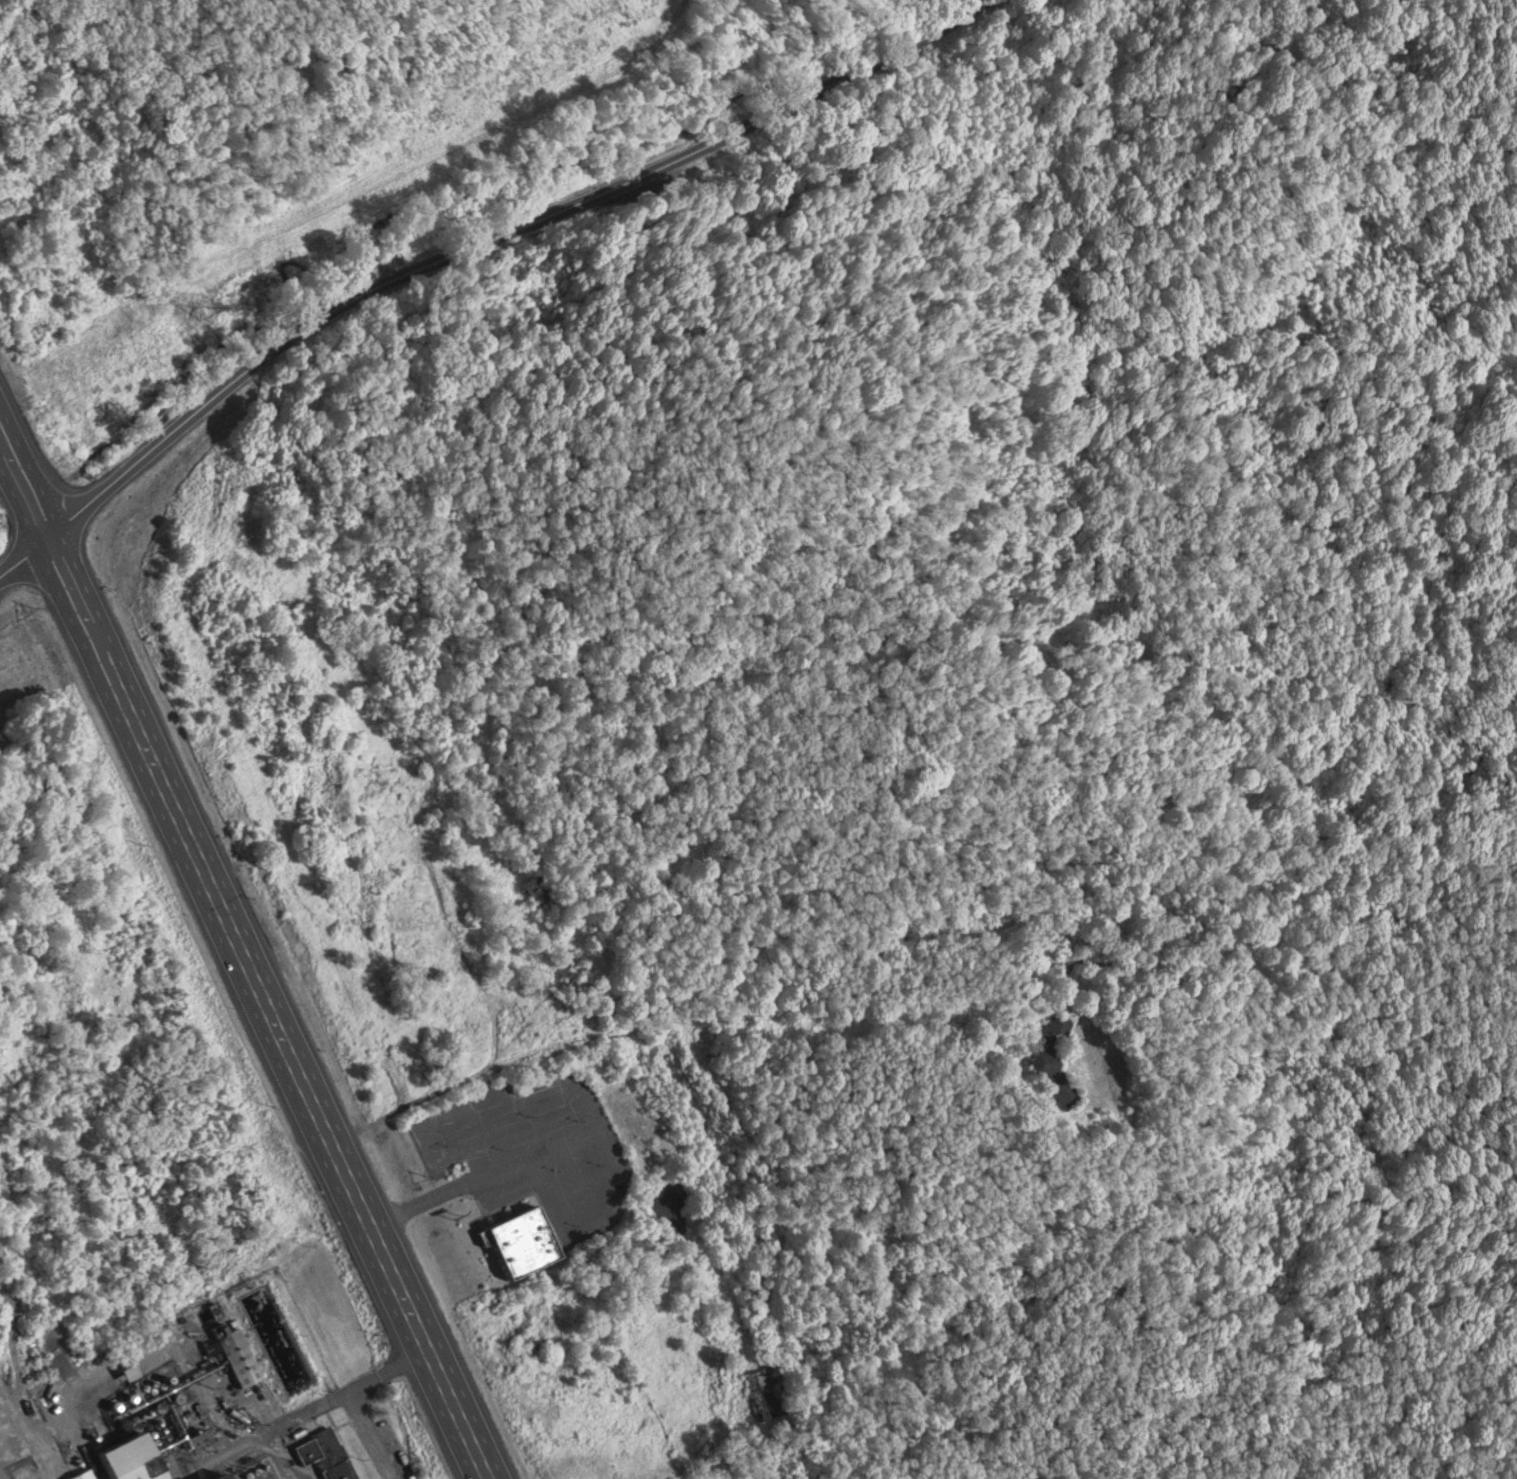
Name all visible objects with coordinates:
road: (493, 239)
road: (17, 554)
road: (238, 971)
road: (398, 1205)
building: (515, 1234)
crop: (503, 1241)
building: (232, 1350)
road: (185, 1357)
road: (365, 1406)
building: (303, 1444)
building: (209, 1447)
road: (273, 1452)
building: (117, 1454)
building: (335, 1467)
building: (76, 1471)

